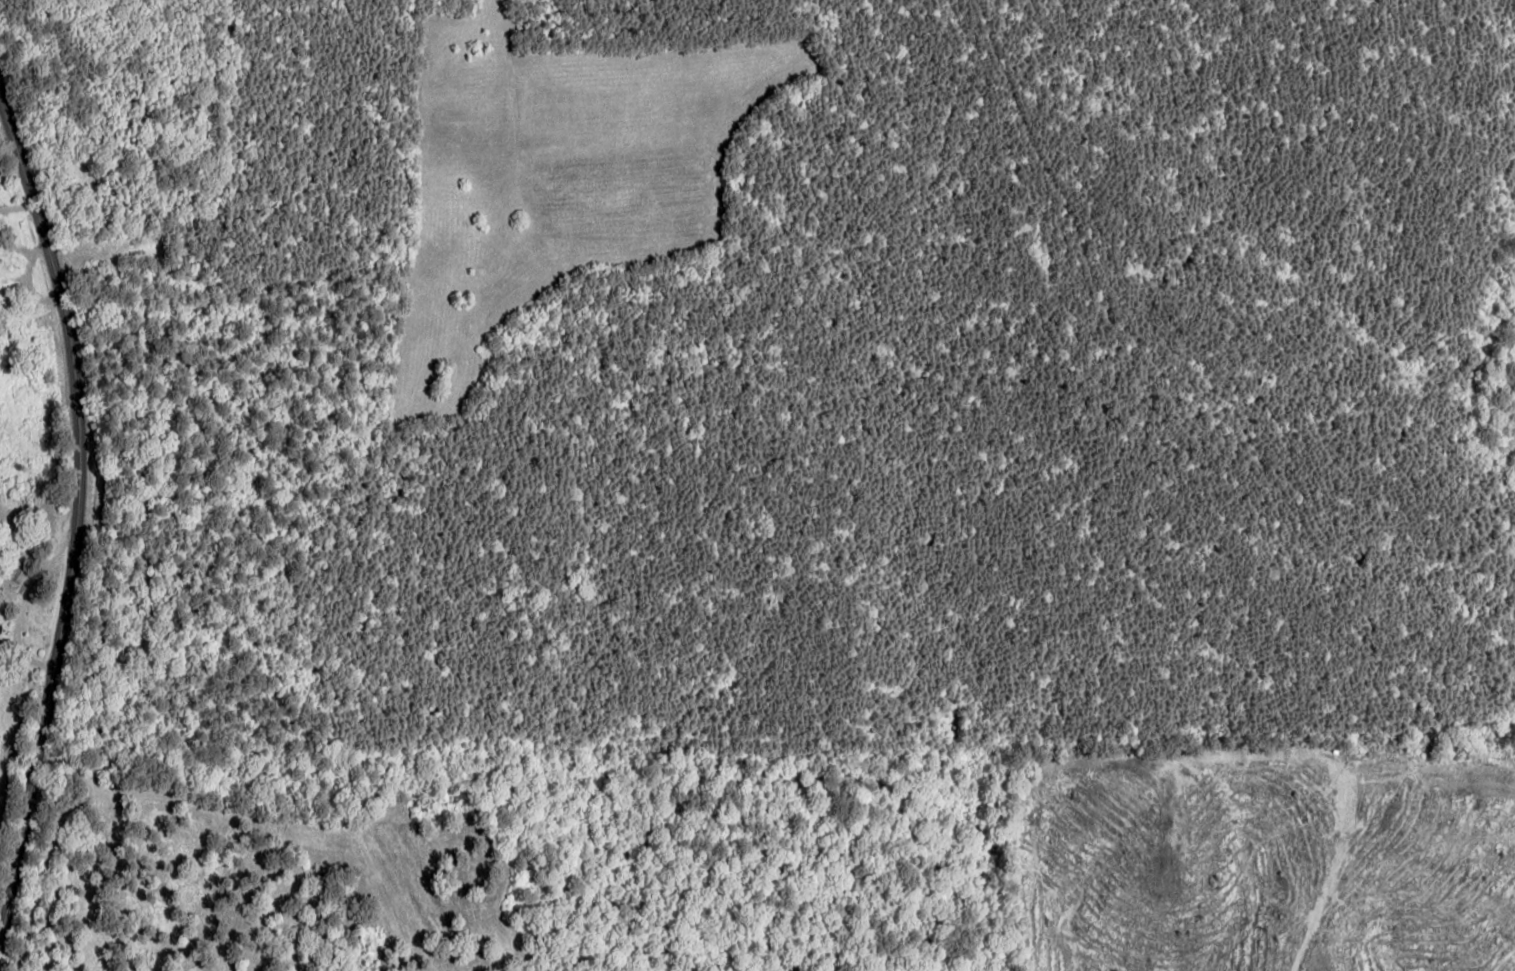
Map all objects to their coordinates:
road: (25, 209)
road: (94, 504)
building: (0, 622)

